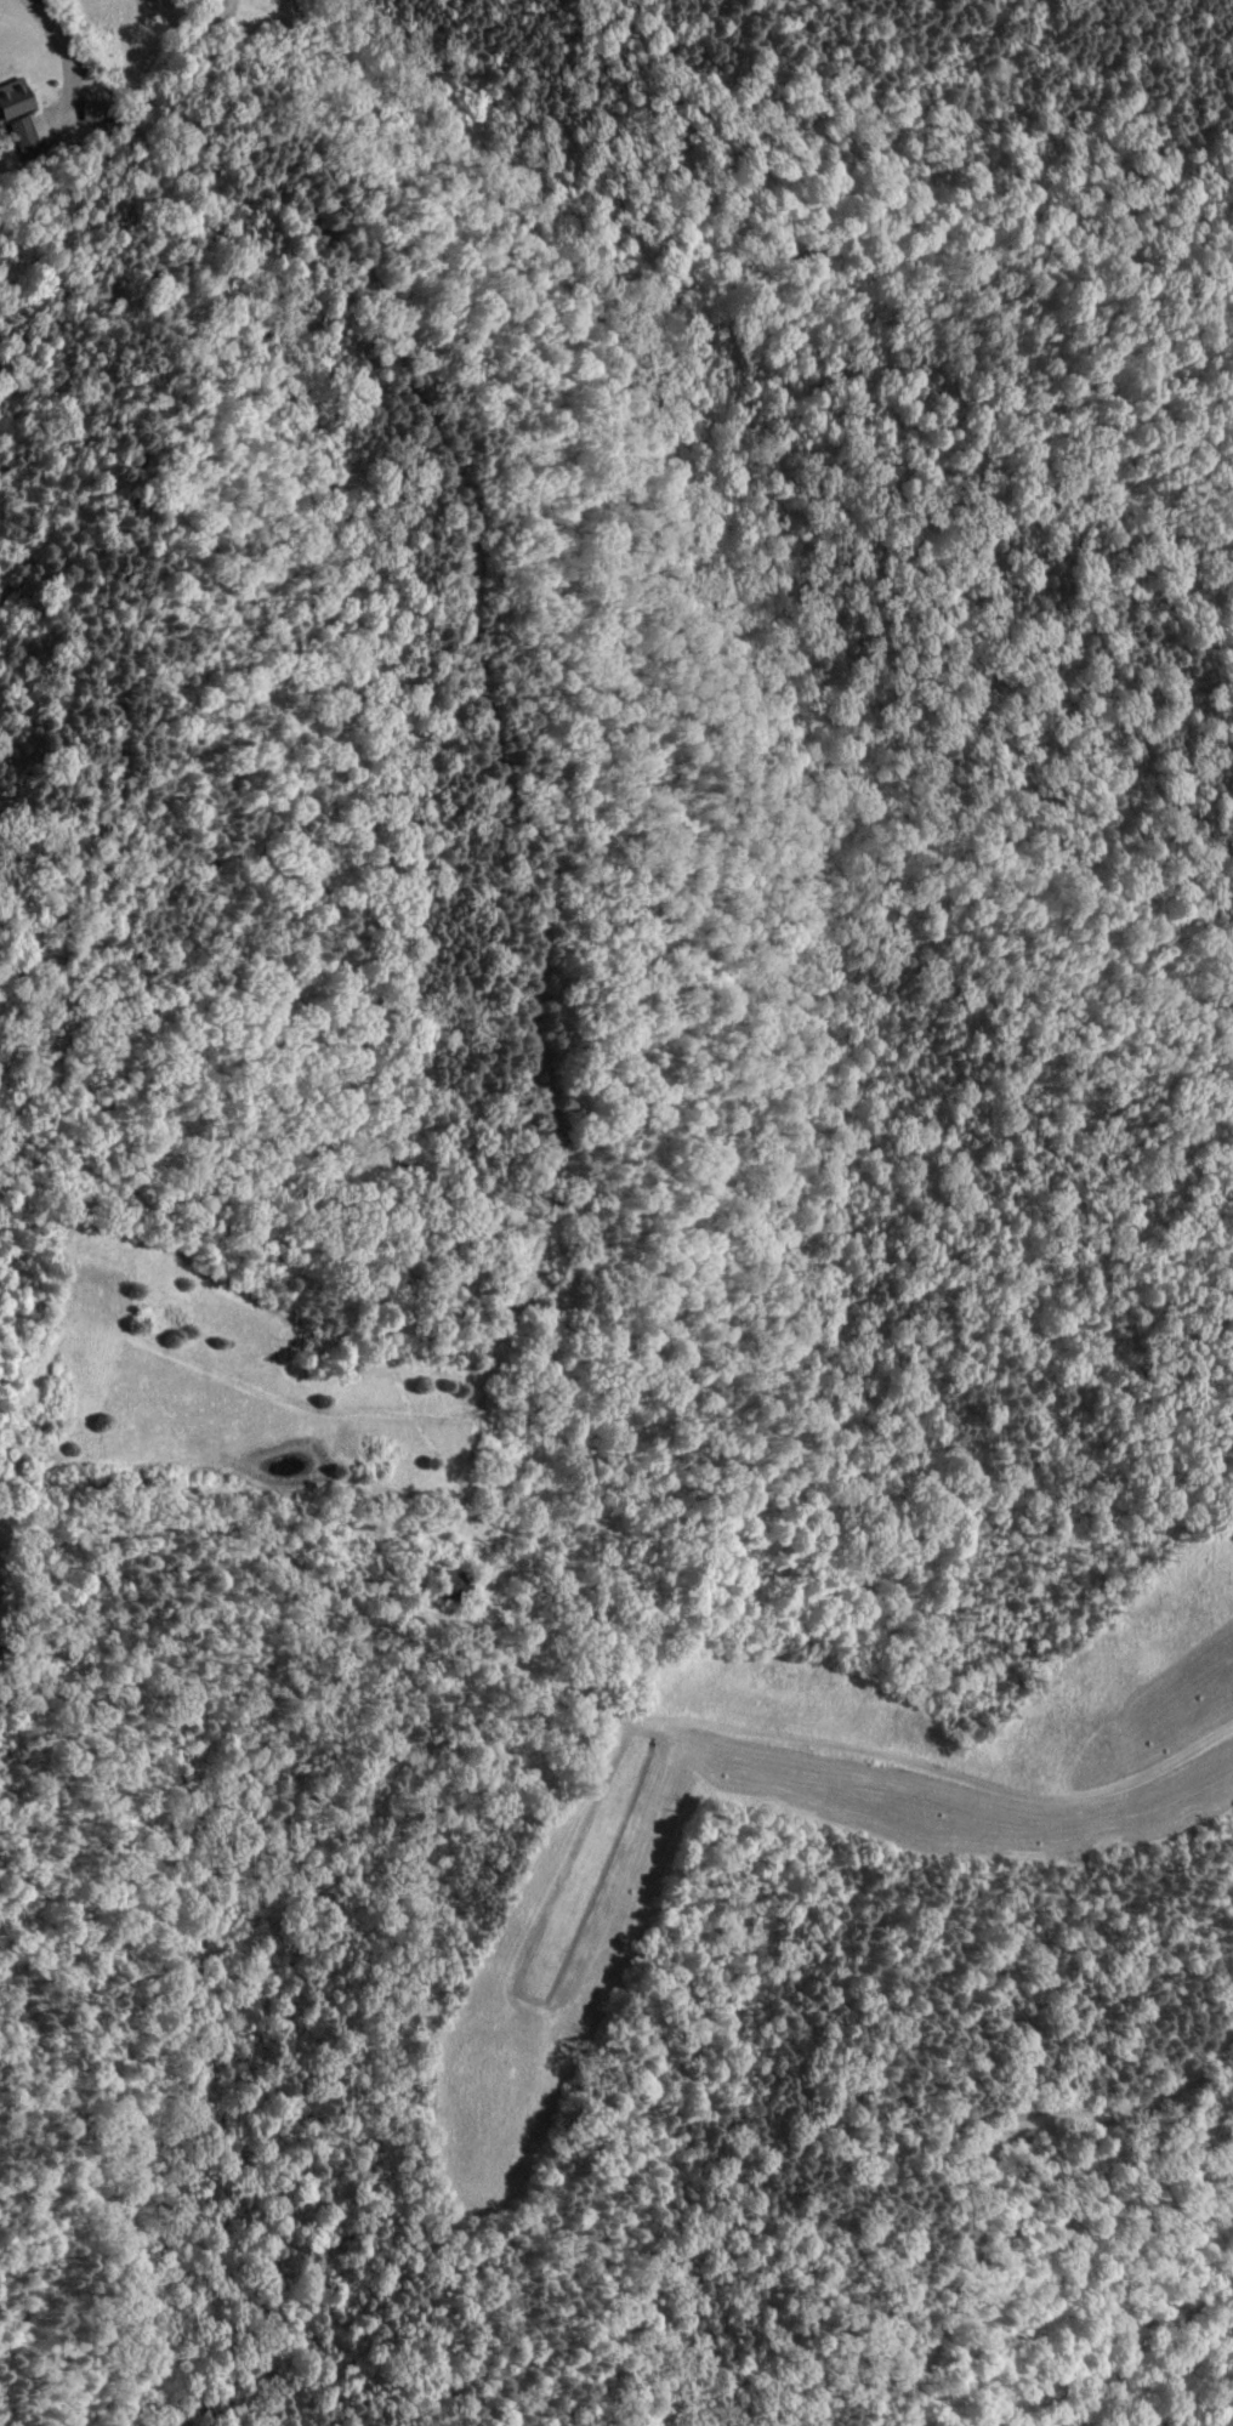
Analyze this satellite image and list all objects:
road: (73, 51)
crop: (74, 67)
building: (10, 100)
building: (18, 135)
road: (999, 2141)

